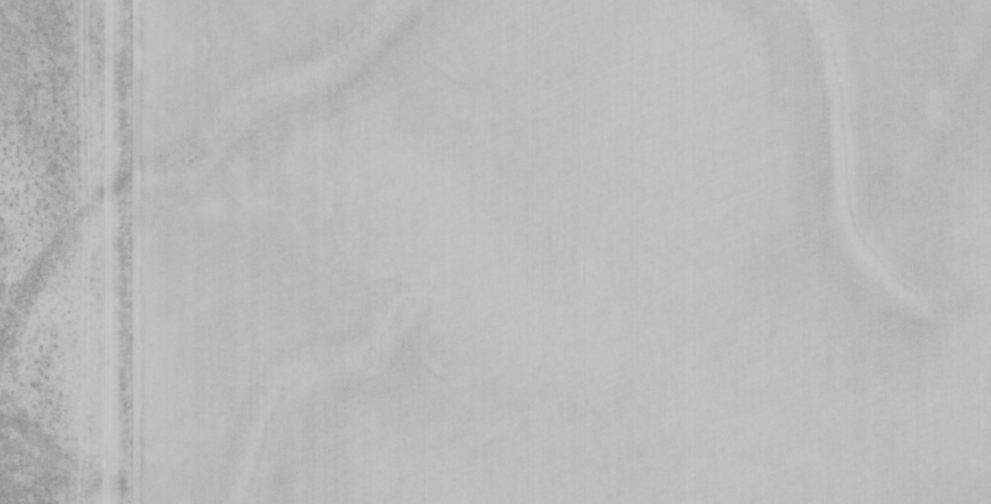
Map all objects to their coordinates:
crop: (495, 252)

